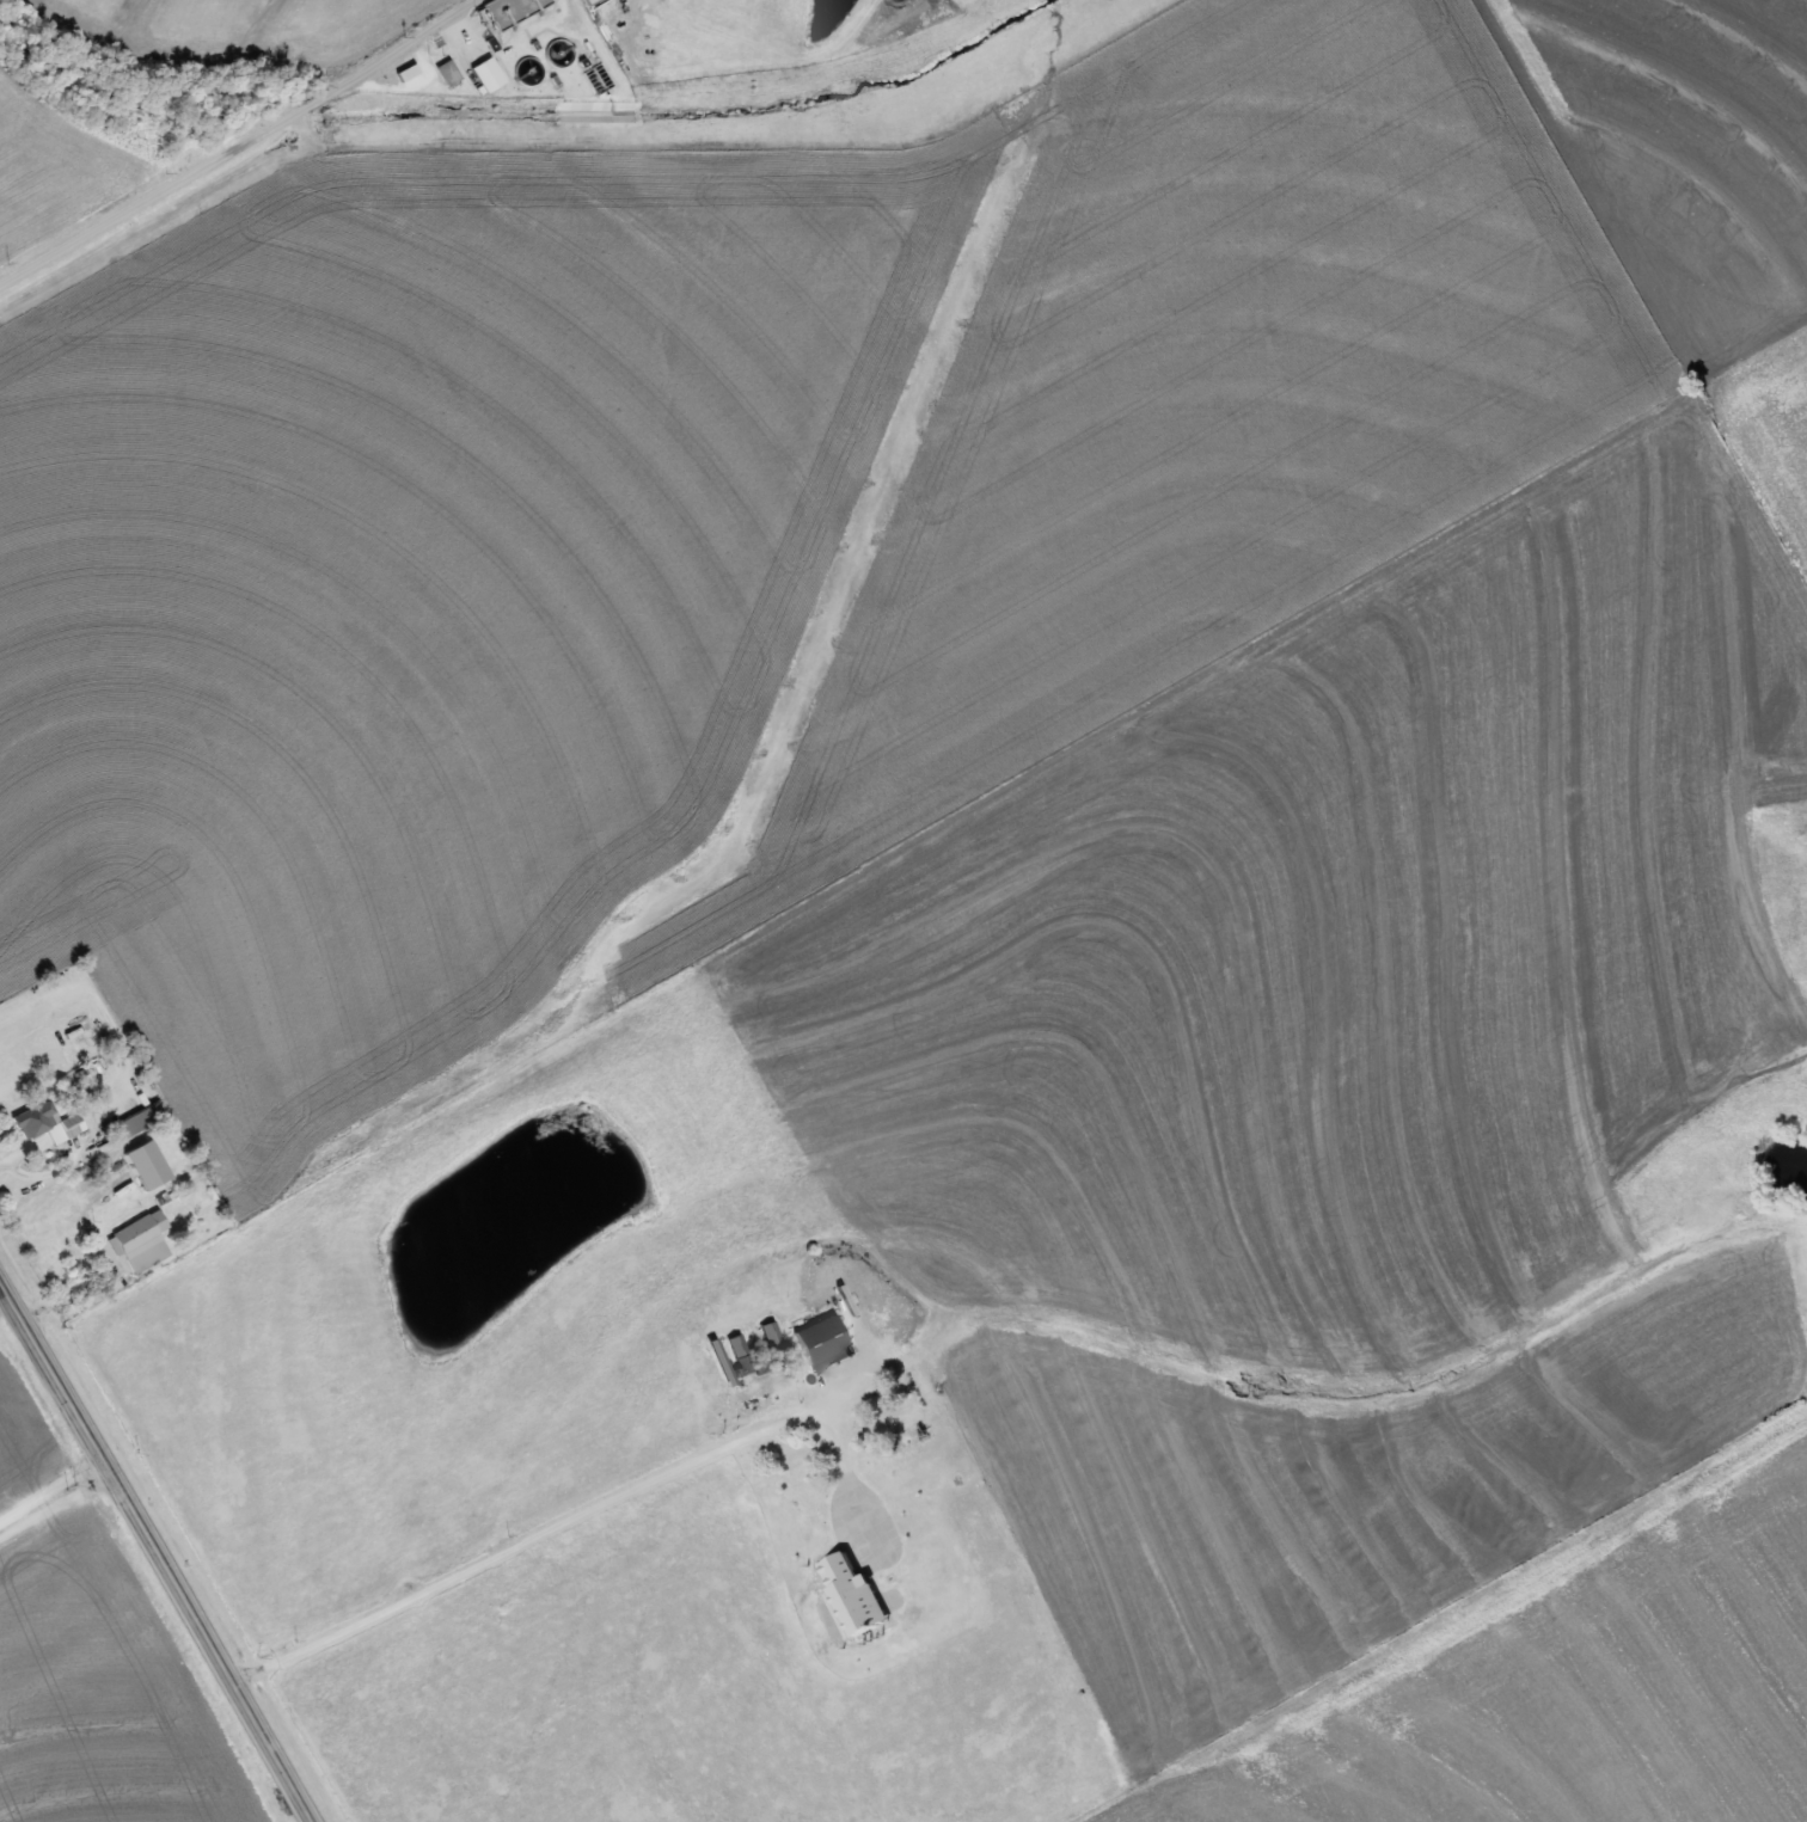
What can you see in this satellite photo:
crop: (251, 25)
road: (600, 41)
wastewater plant: (662, 49)
building: (448, 70)
building: (486, 73)
road: (238, 142)
crop: (60, 168)
crop: (1771, 422)
crop: (780, 492)
crop: (1339, 951)
building: (140, 1117)
building: (47, 1122)
building: (143, 1162)
building: (139, 1240)
building: (822, 1343)
crop: (25, 1436)
crop: (1334, 1483)
road: (51, 1491)
road: (56, 1507)
road: (155, 1550)
building: (851, 1594)
crop: (1566, 1687)
crop: (105, 1693)

